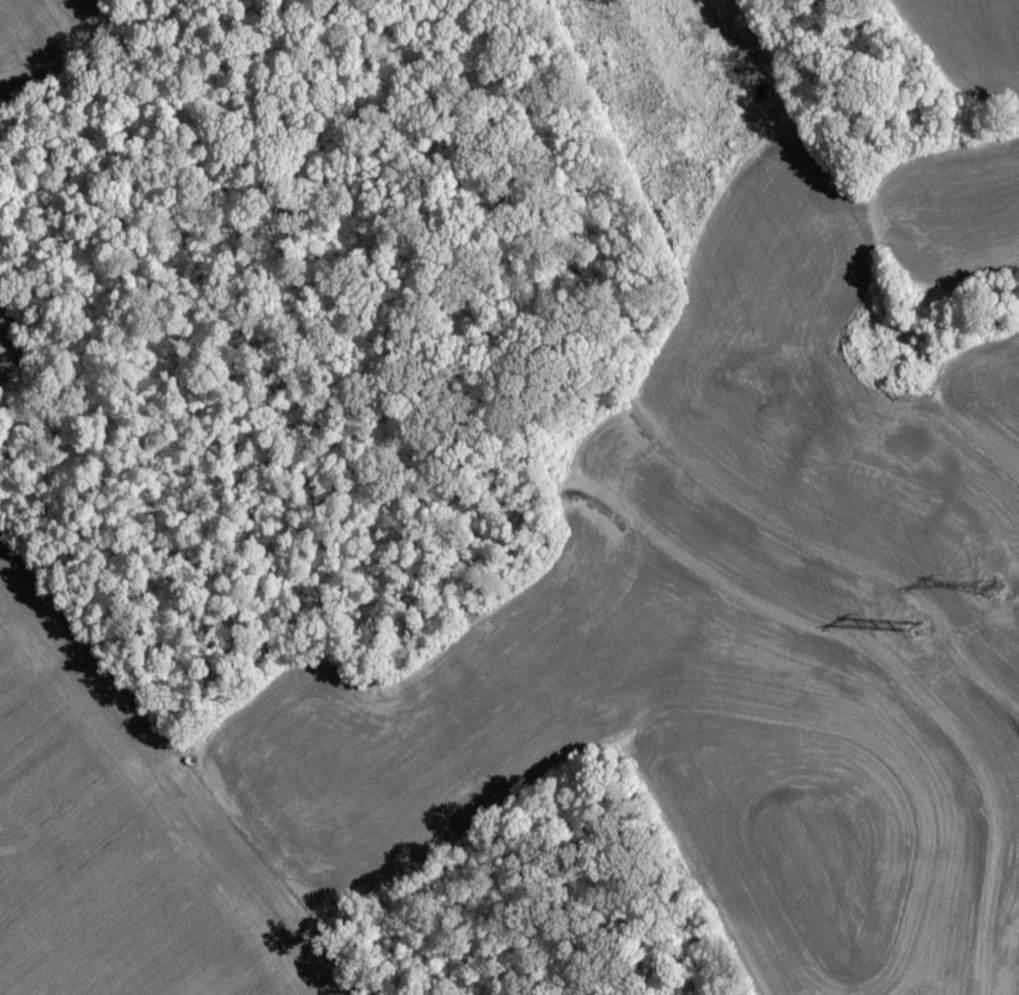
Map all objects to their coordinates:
power tower: (592, 2)
power tower: (990, 595)
power tower: (910, 634)

